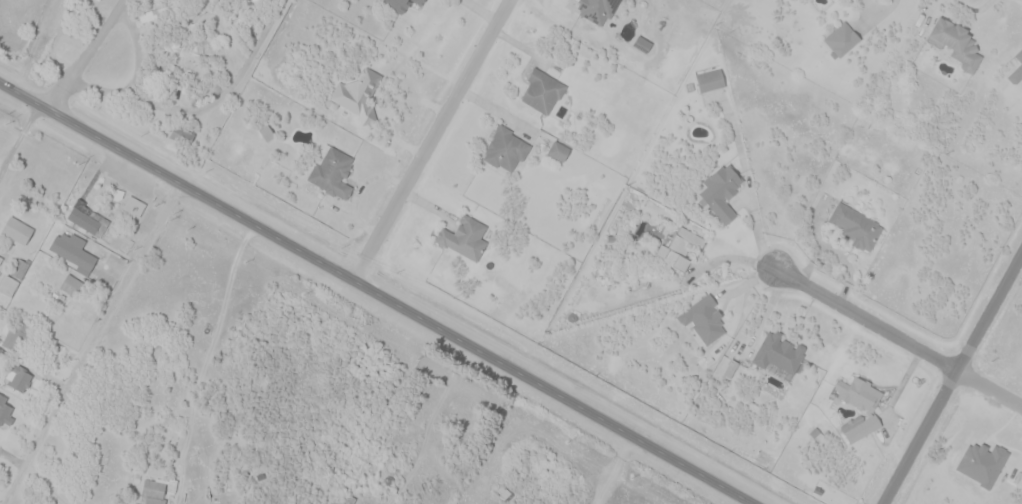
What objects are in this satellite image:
building: (98, 0)
building: (99, 0)
building: (418, 1)
building: (423, 1)
building: (397, 5)
building: (596, 10)
road: (882, 12)
building: (153, 15)
building: (841, 40)
building: (956, 42)
building: (66, 49)
road: (87, 53)
building: (1016, 70)
building: (711, 80)
building: (544, 91)
road: (202, 107)
road: (497, 111)
building: (268, 132)
building: (182, 134)
road: (431, 138)
road: (18, 140)
building: (905, 140)
building: (506, 148)
building: (558, 150)
building: (333, 172)
building: (720, 193)
building: (133, 208)
building: (89, 219)
building: (856, 226)
building: (18, 229)
building: (464, 237)
building: (678, 248)
building: (74, 251)
building: (1, 259)
building: (19, 268)
building: (9, 285)
building: (71, 285)
road: (377, 291)
building: (705, 317)
road: (866, 319)
building: (17, 334)
building: (780, 351)
road: (951, 376)
building: (19, 378)
road: (989, 387)
building: (861, 405)
building: (5, 413)
building: (156, 489)

